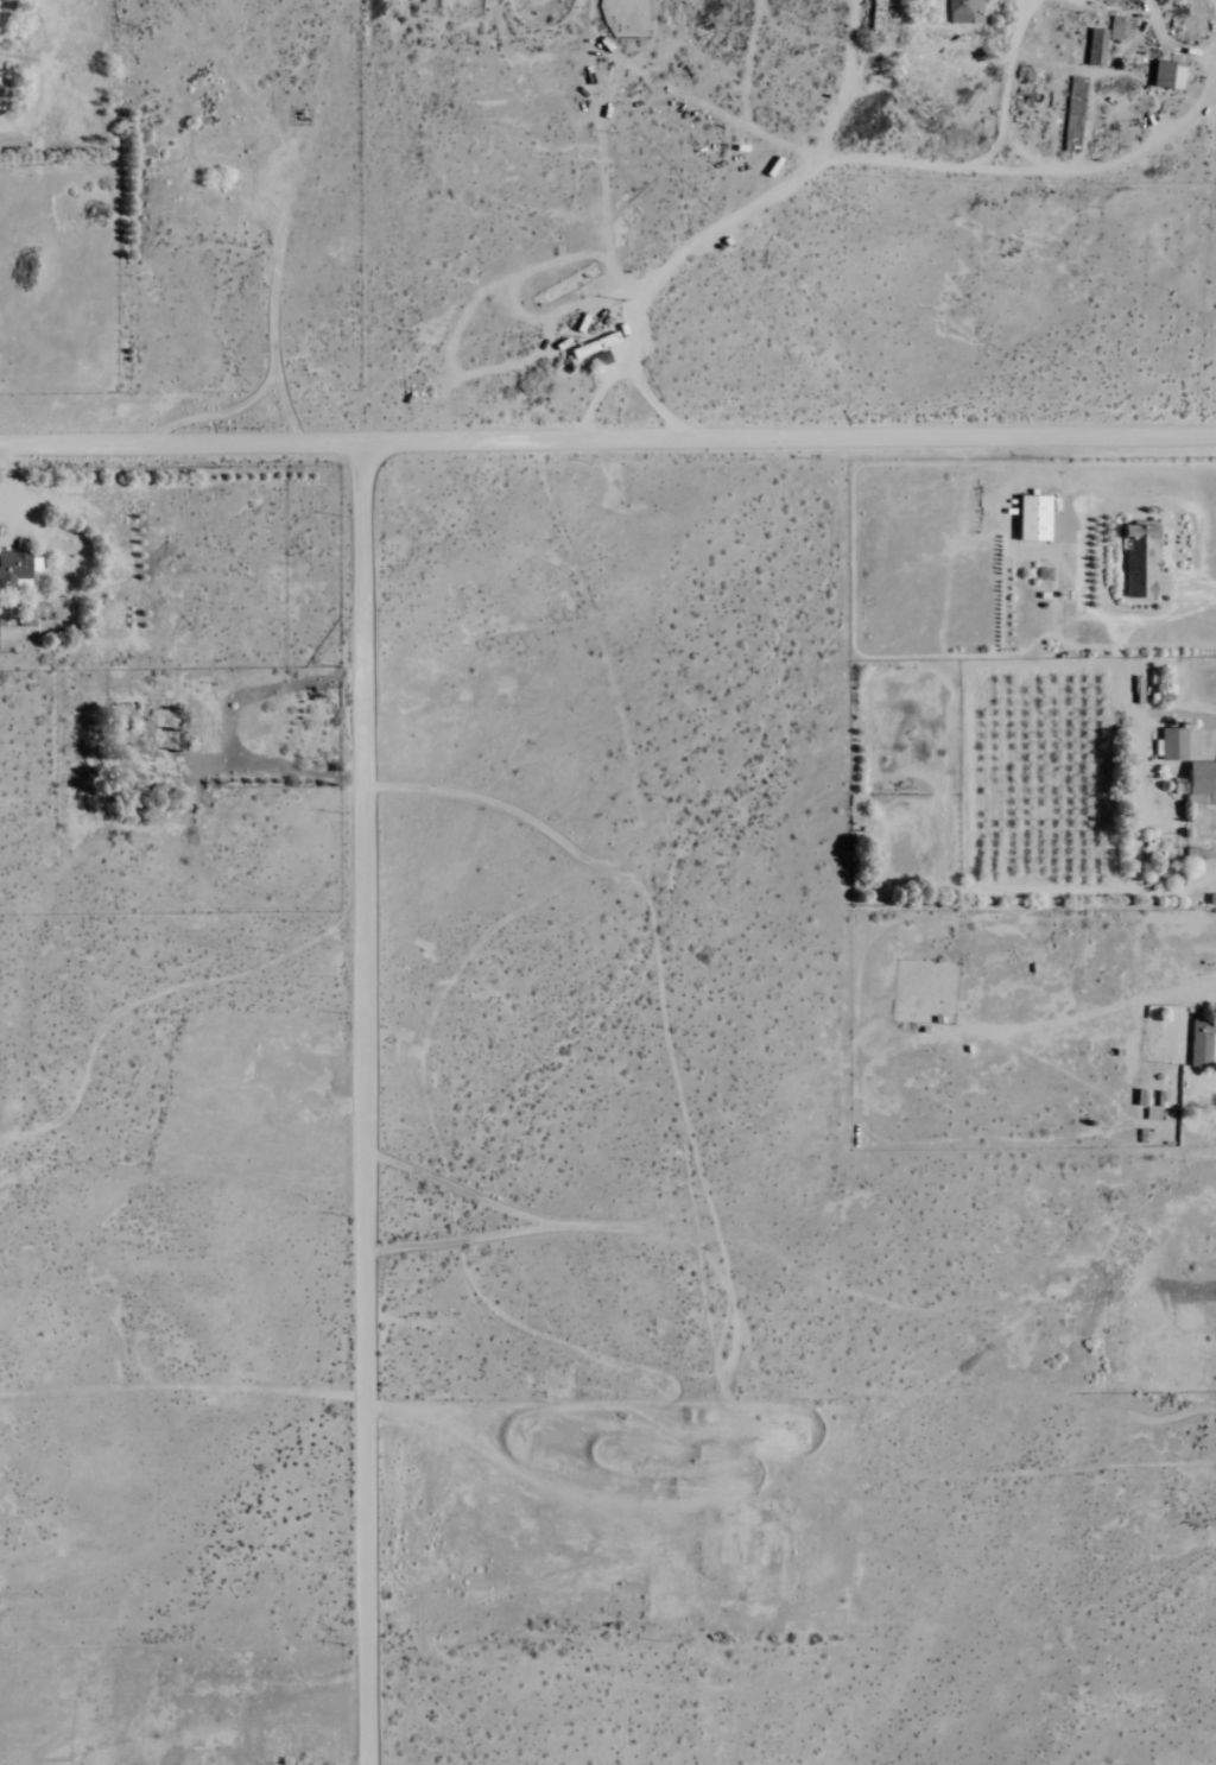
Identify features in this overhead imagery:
building: (964, 12)
building: (1115, 30)
building: (1101, 49)
building: (1167, 77)
road: (607, 437)
building: (1033, 518)
building: (1139, 559)
building: (21, 584)
building: (42, 614)
building: (1173, 745)
building: (1203, 779)
building: (1197, 799)
building: (1199, 1050)
road: (368, 1102)

